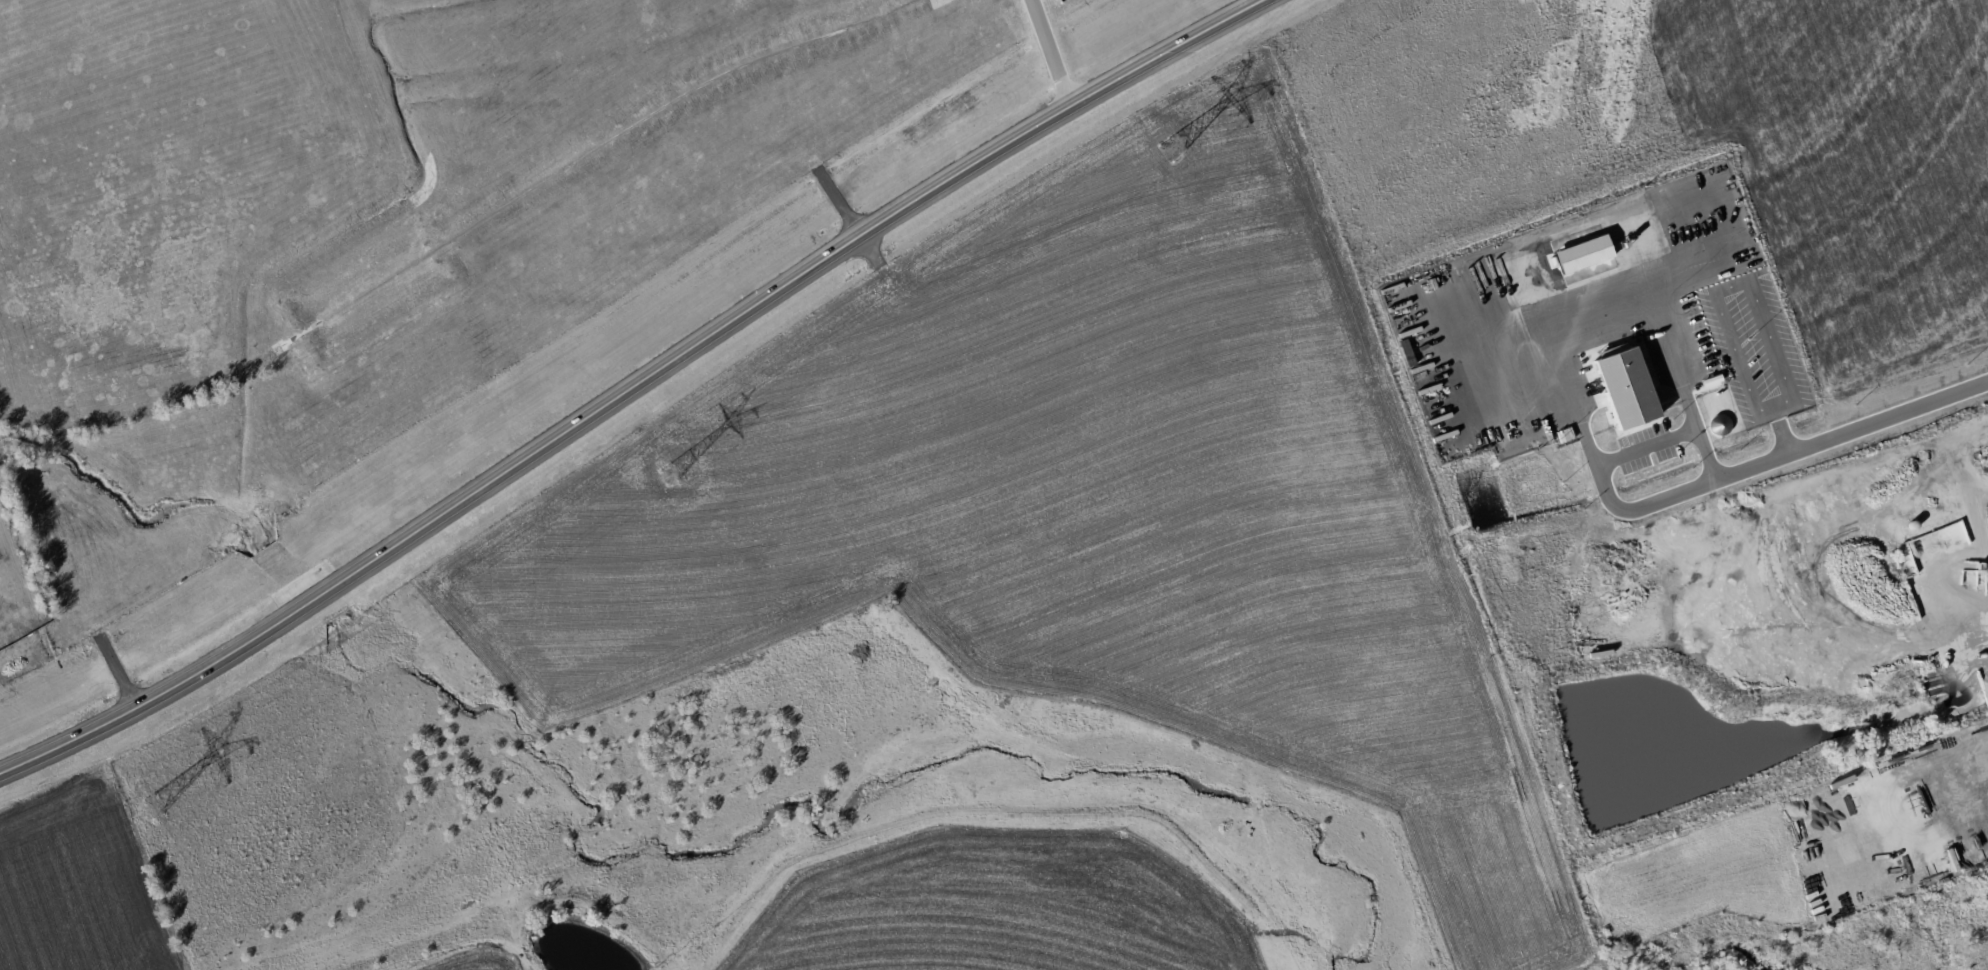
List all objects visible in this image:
road: (1050, 53)
power tower: (1170, 149)
building: (1620, 385)
road: (631, 386)
road: (1850, 427)
road: (1603, 470)
power tower: (668, 476)
road: (1958, 778)
power tower: (152, 805)

